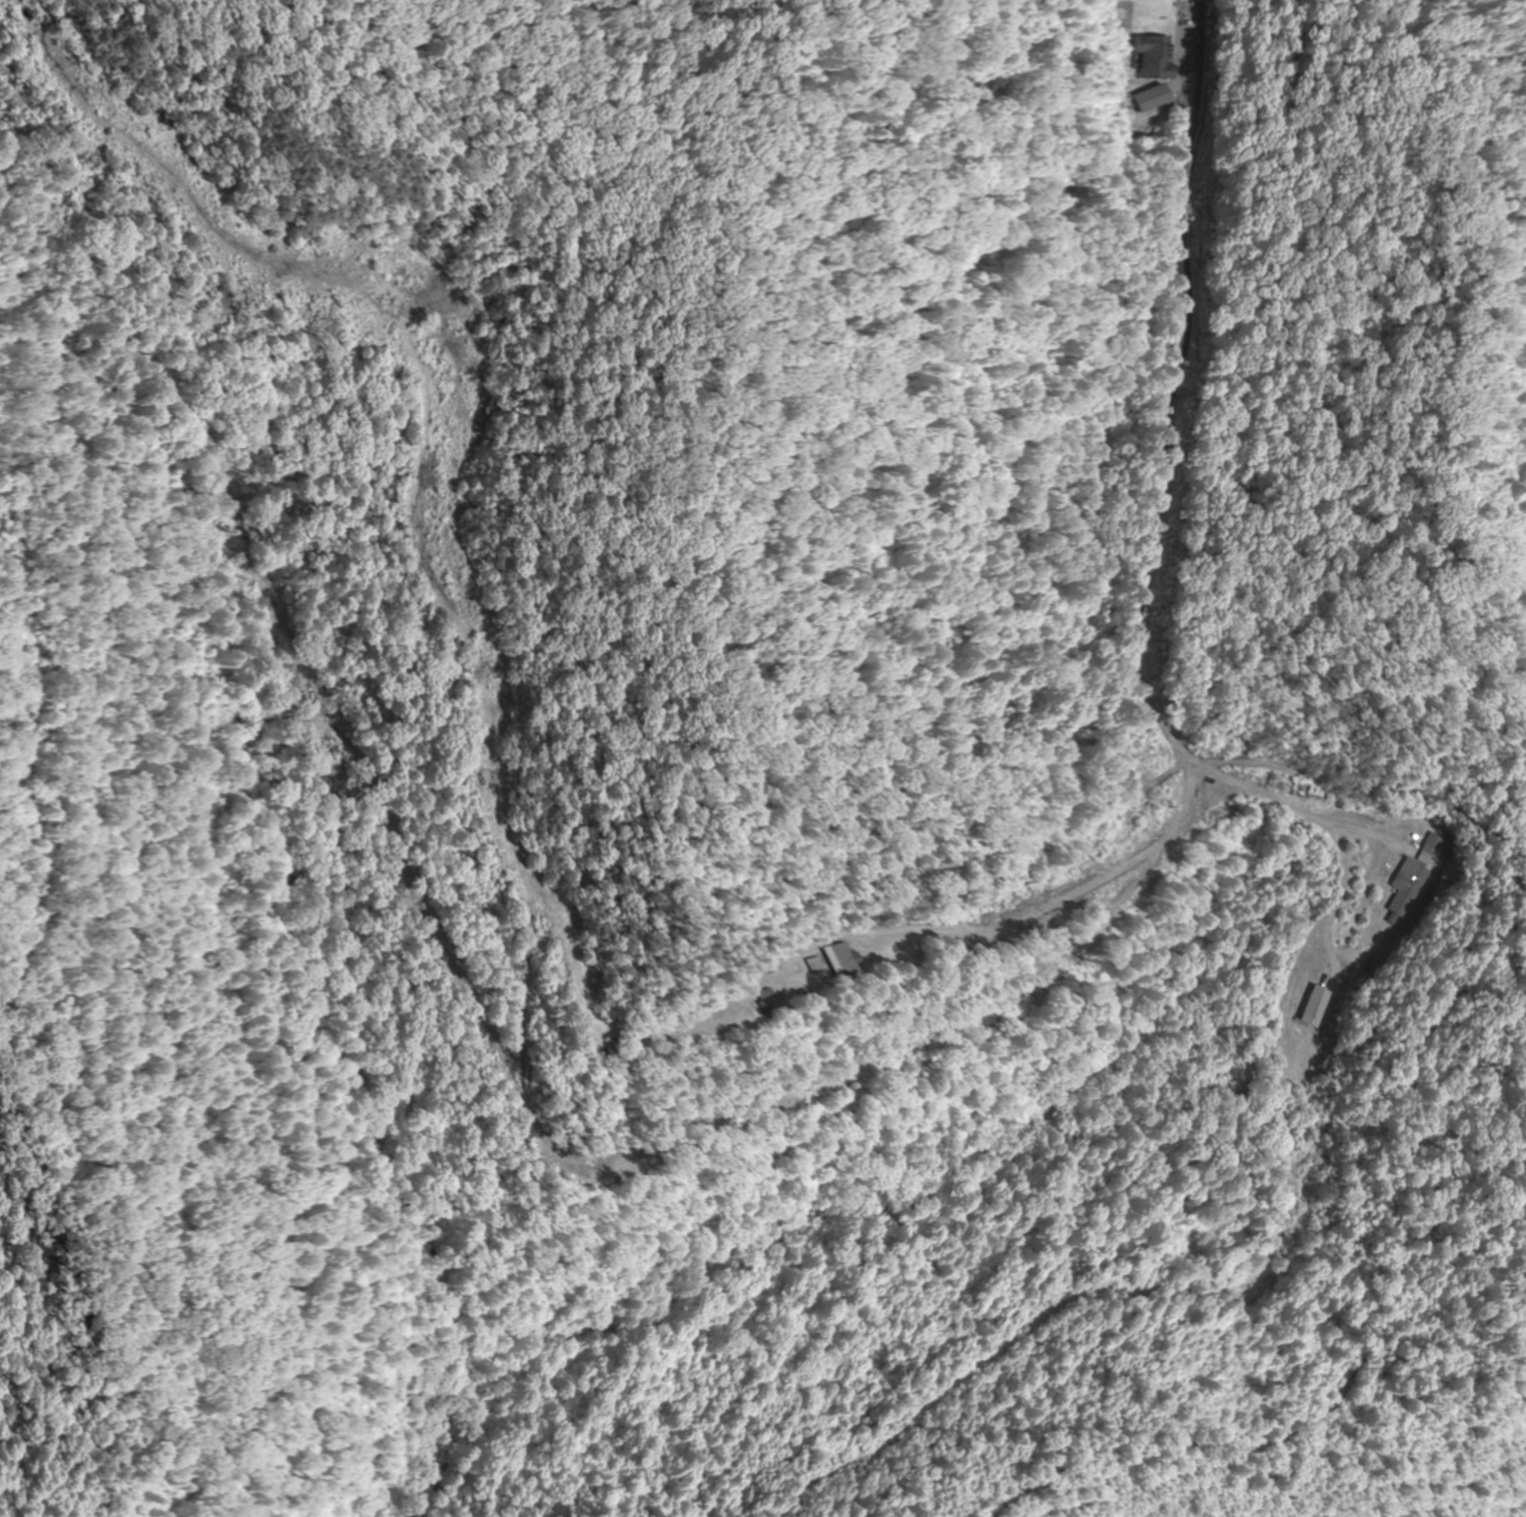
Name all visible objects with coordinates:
building: (1155, 56)
road: (1139, 633)
road: (961, 705)
road: (1380, 822)
building: (1433, 850)
building: (1408, 890)
building: (832, 963)
building: (760, 1004)
building: (1312, 1008)
building: (598, 1052)
building: (1238, 1096)
road: (1111, 1174)

